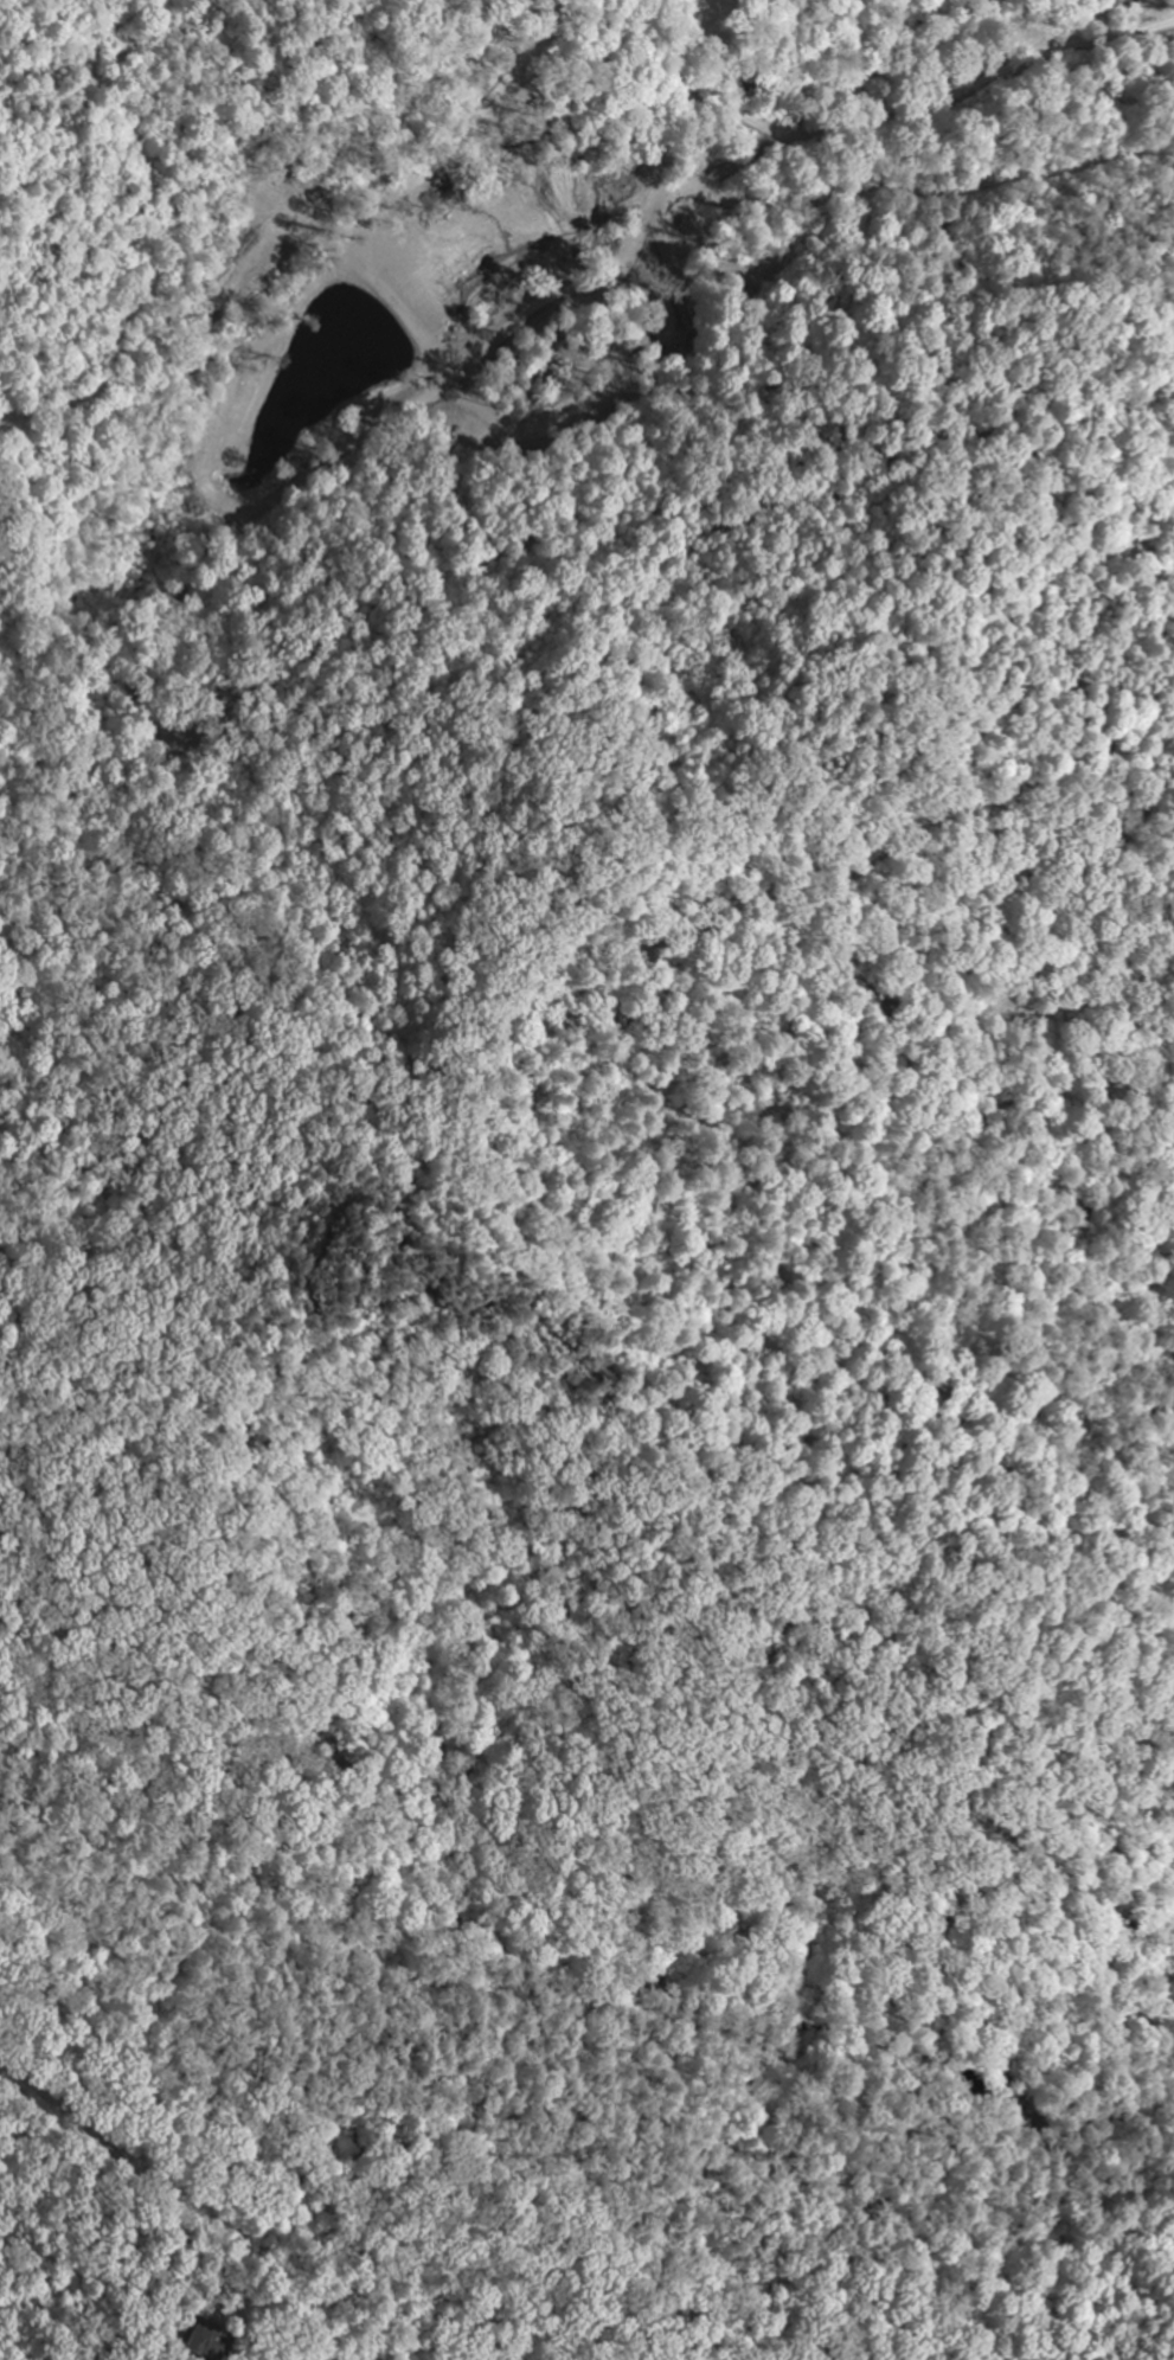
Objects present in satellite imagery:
road: (693, 24)
road: (915, 110)
building: (209, 2341)

